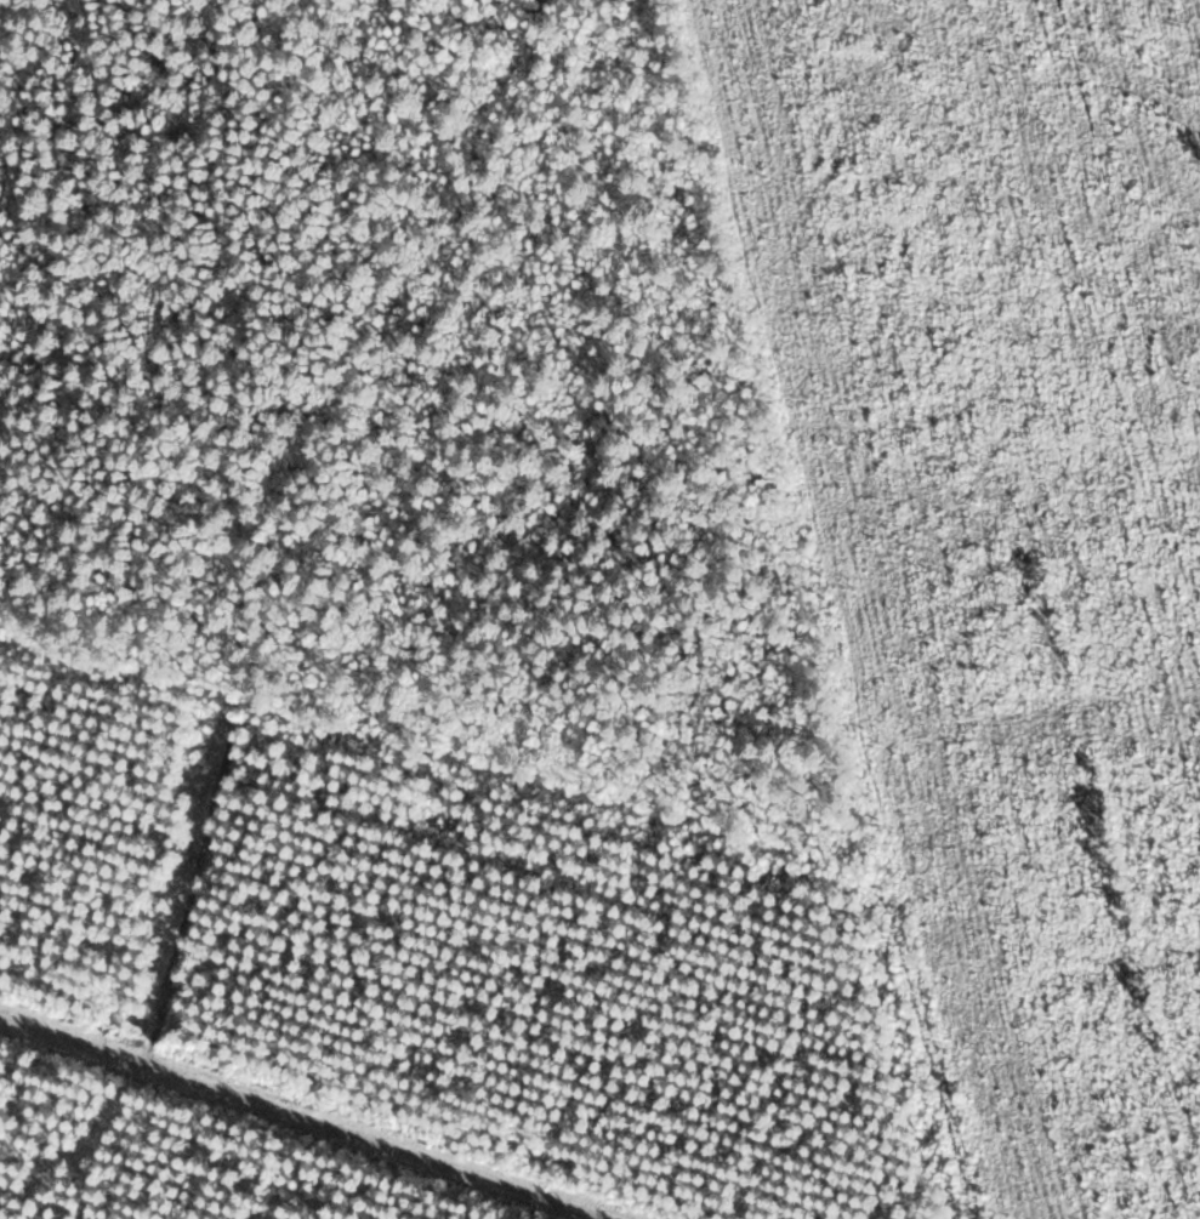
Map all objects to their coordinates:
road: (306, 1116)

